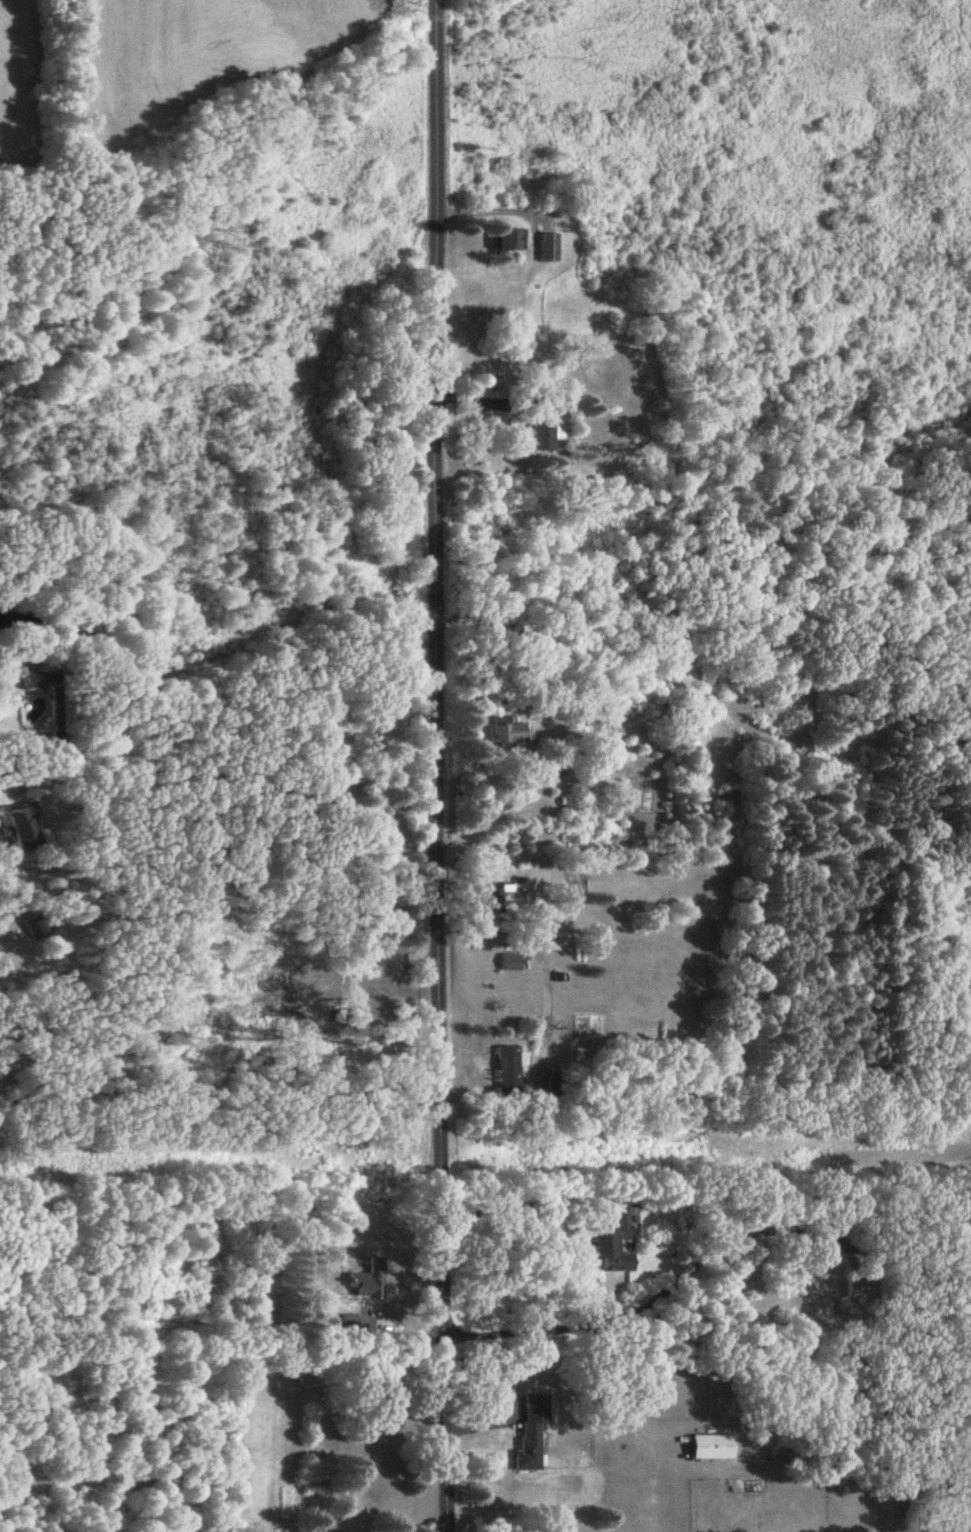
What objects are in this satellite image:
building: (512, 240)
building: (550, 248)
building: (545, 429)
building: (42, 680)
building: (512, 733)
road: (442, 766)
road: (519, 771)
road: (279, 787)
building: (24, 828)
building: (494, 899)
building: (512, 964)
road: (548, 1016)
building: (509, 1070)
building: (612, 1246)
road: (690, 1269)
building: (370, 1281)
building: (837, 1299)
building: (533, 1432)
building: (702, 1448)

